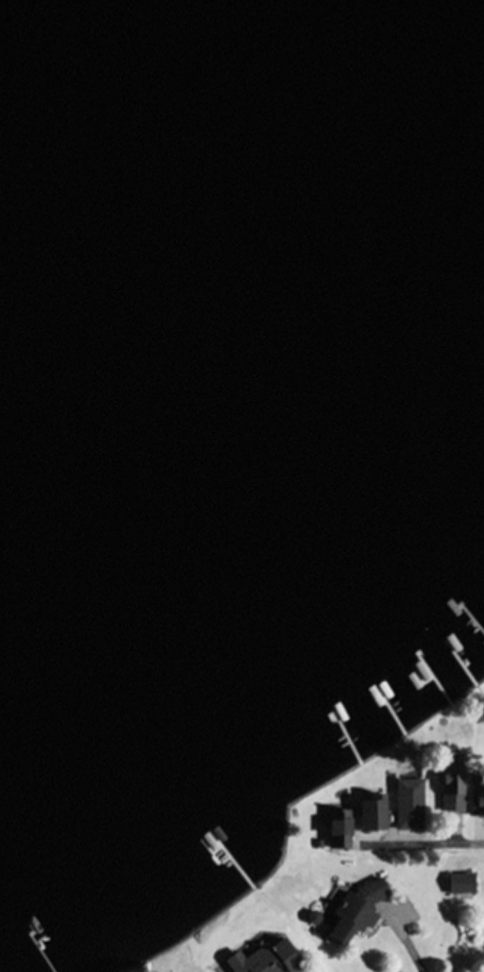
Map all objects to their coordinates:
building: (452, 793)
building: (479, 799)
building: (410, 802)
building: (372, 812)
building: (339, 827)
road: (461, 841)
building: (462, 880)
building: (356, 908)
building: (270, 958)

